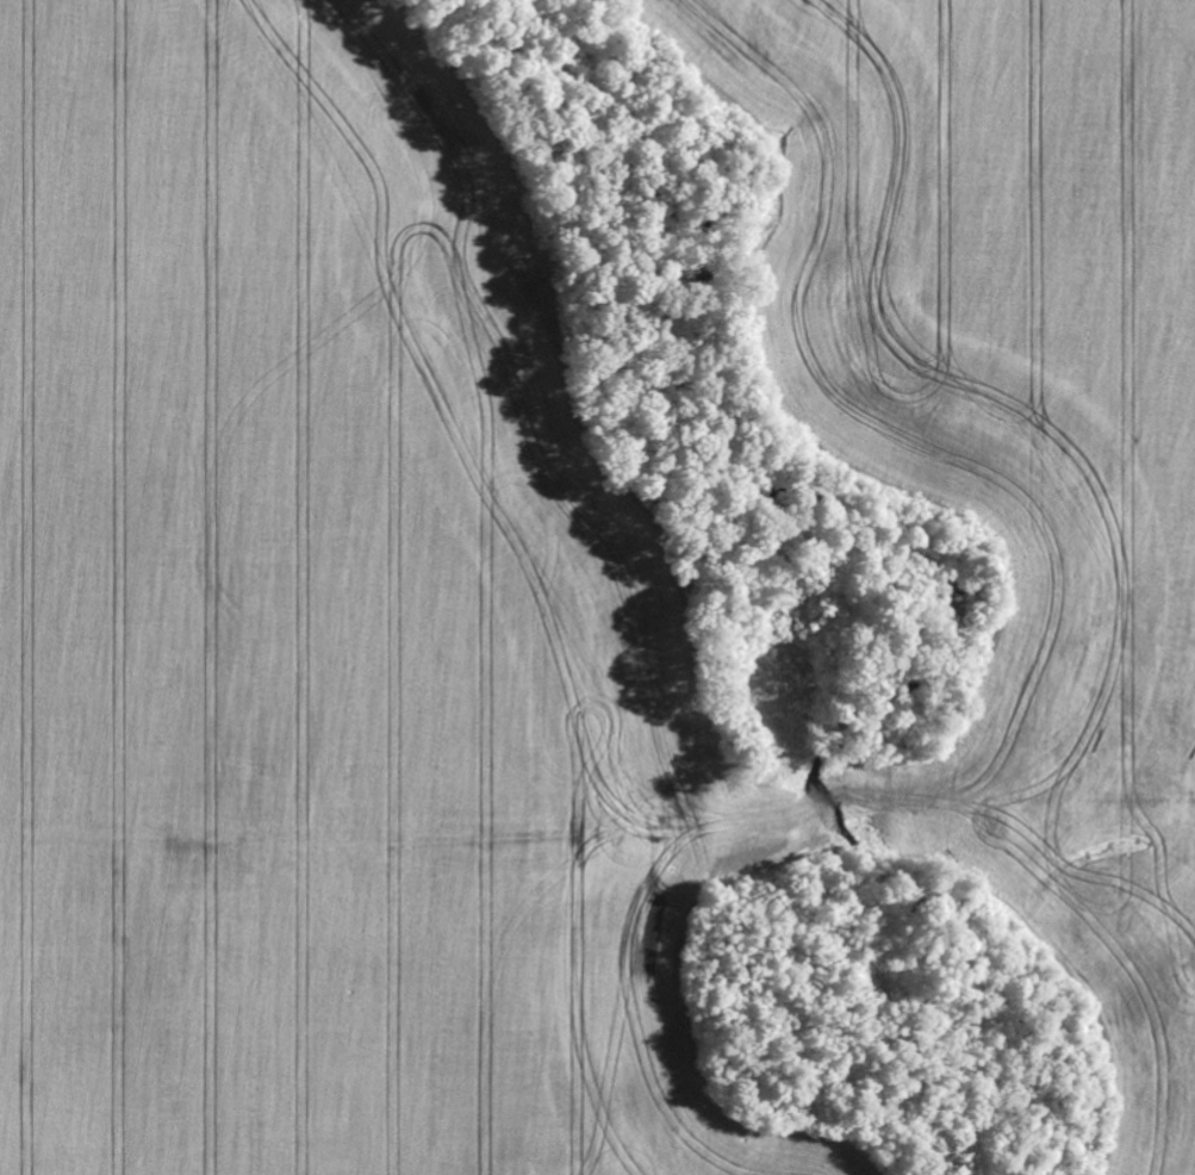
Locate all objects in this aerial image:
road: (888, 684)

